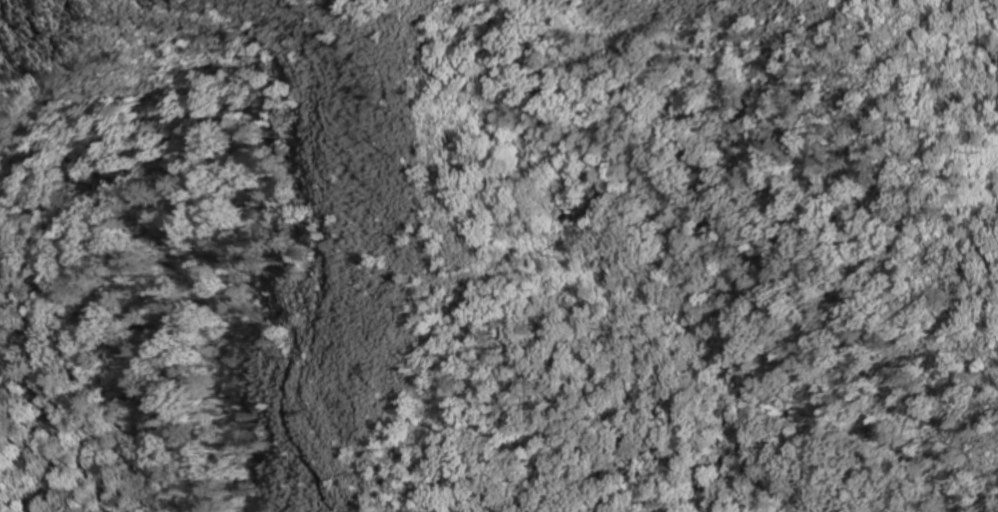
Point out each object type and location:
road: (435, 261)
road: (99, 349)

